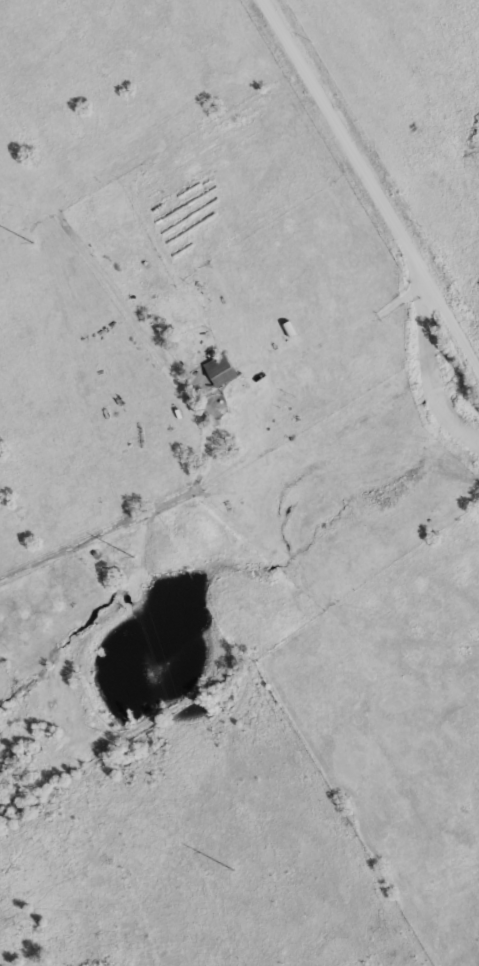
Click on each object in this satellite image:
road: (373, 179)
power tower: (32, 241)
building: (219, 371)
power tower: (134, 557)
power tower: (235, 870)

